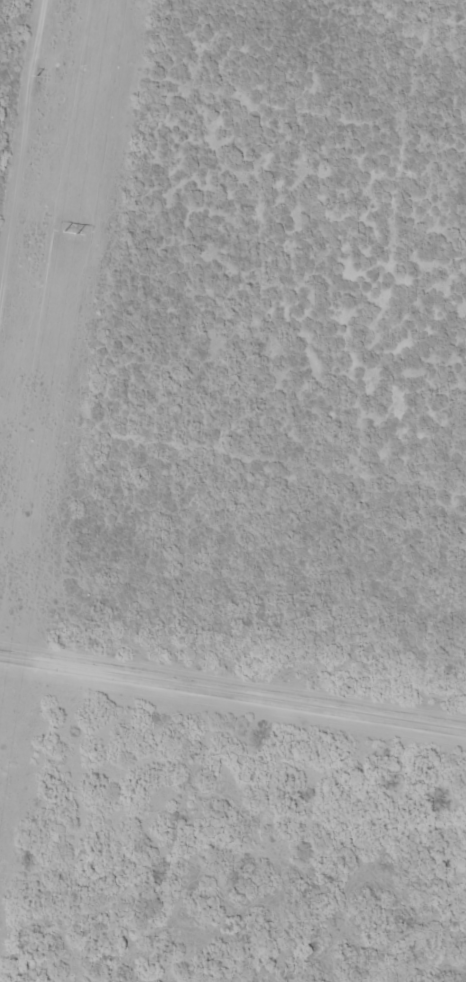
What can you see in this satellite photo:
power tower: (70, 232)

